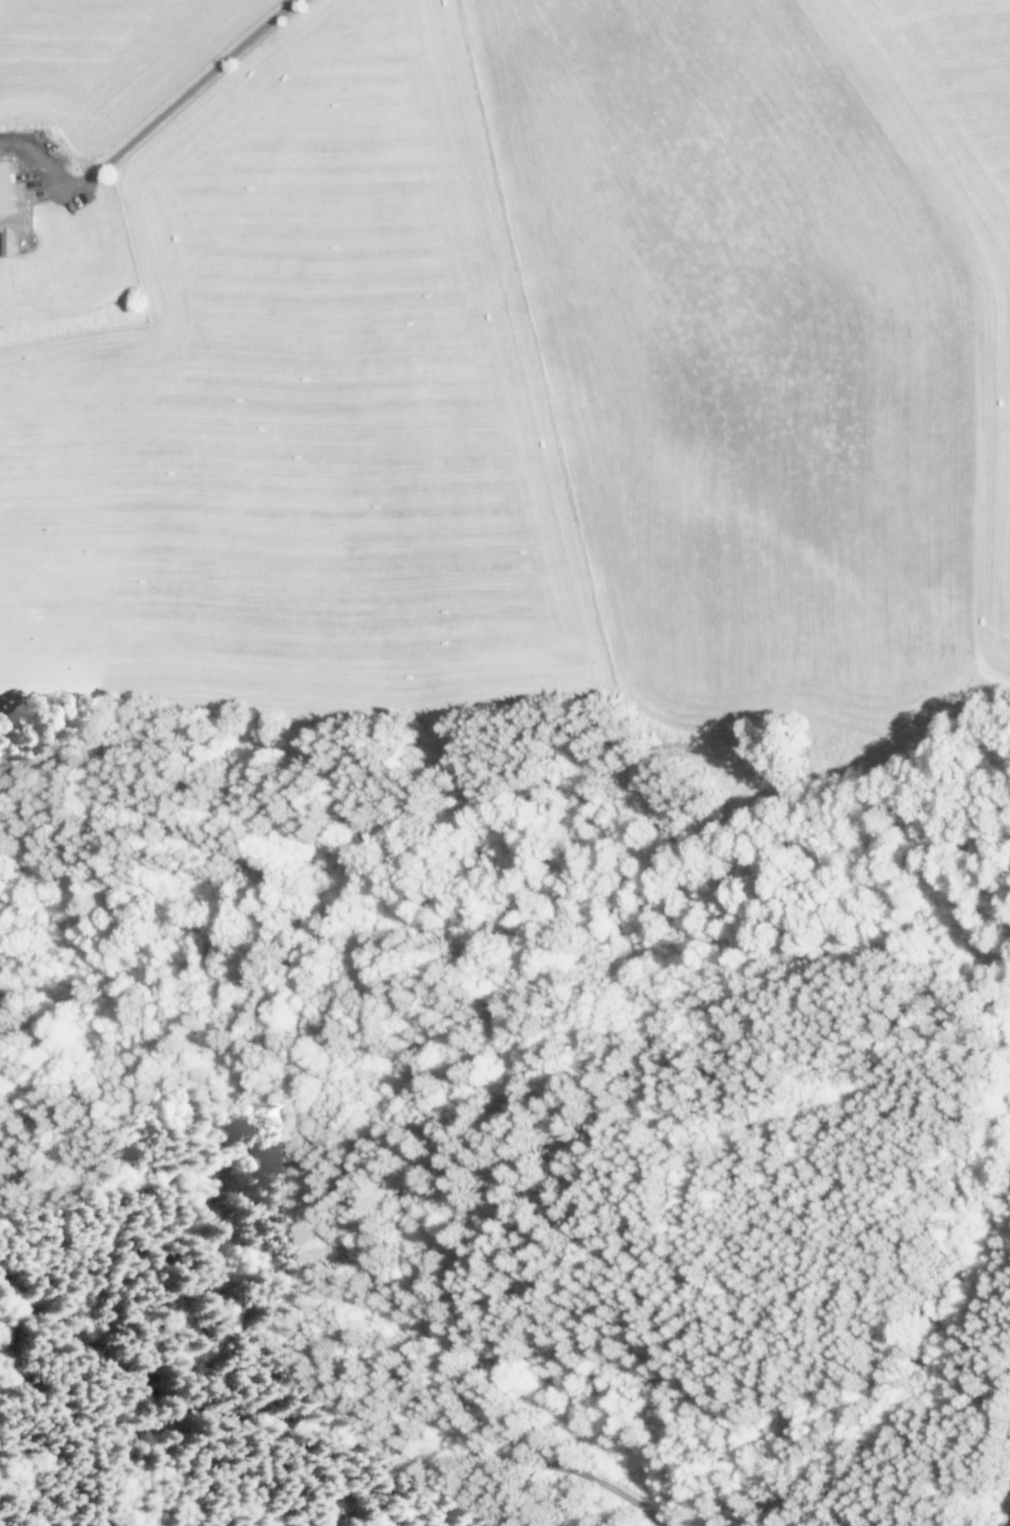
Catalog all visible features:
road: (168, 104)
building: (12, 205)
road: (324, 1435)
road: (1009, 1525)

